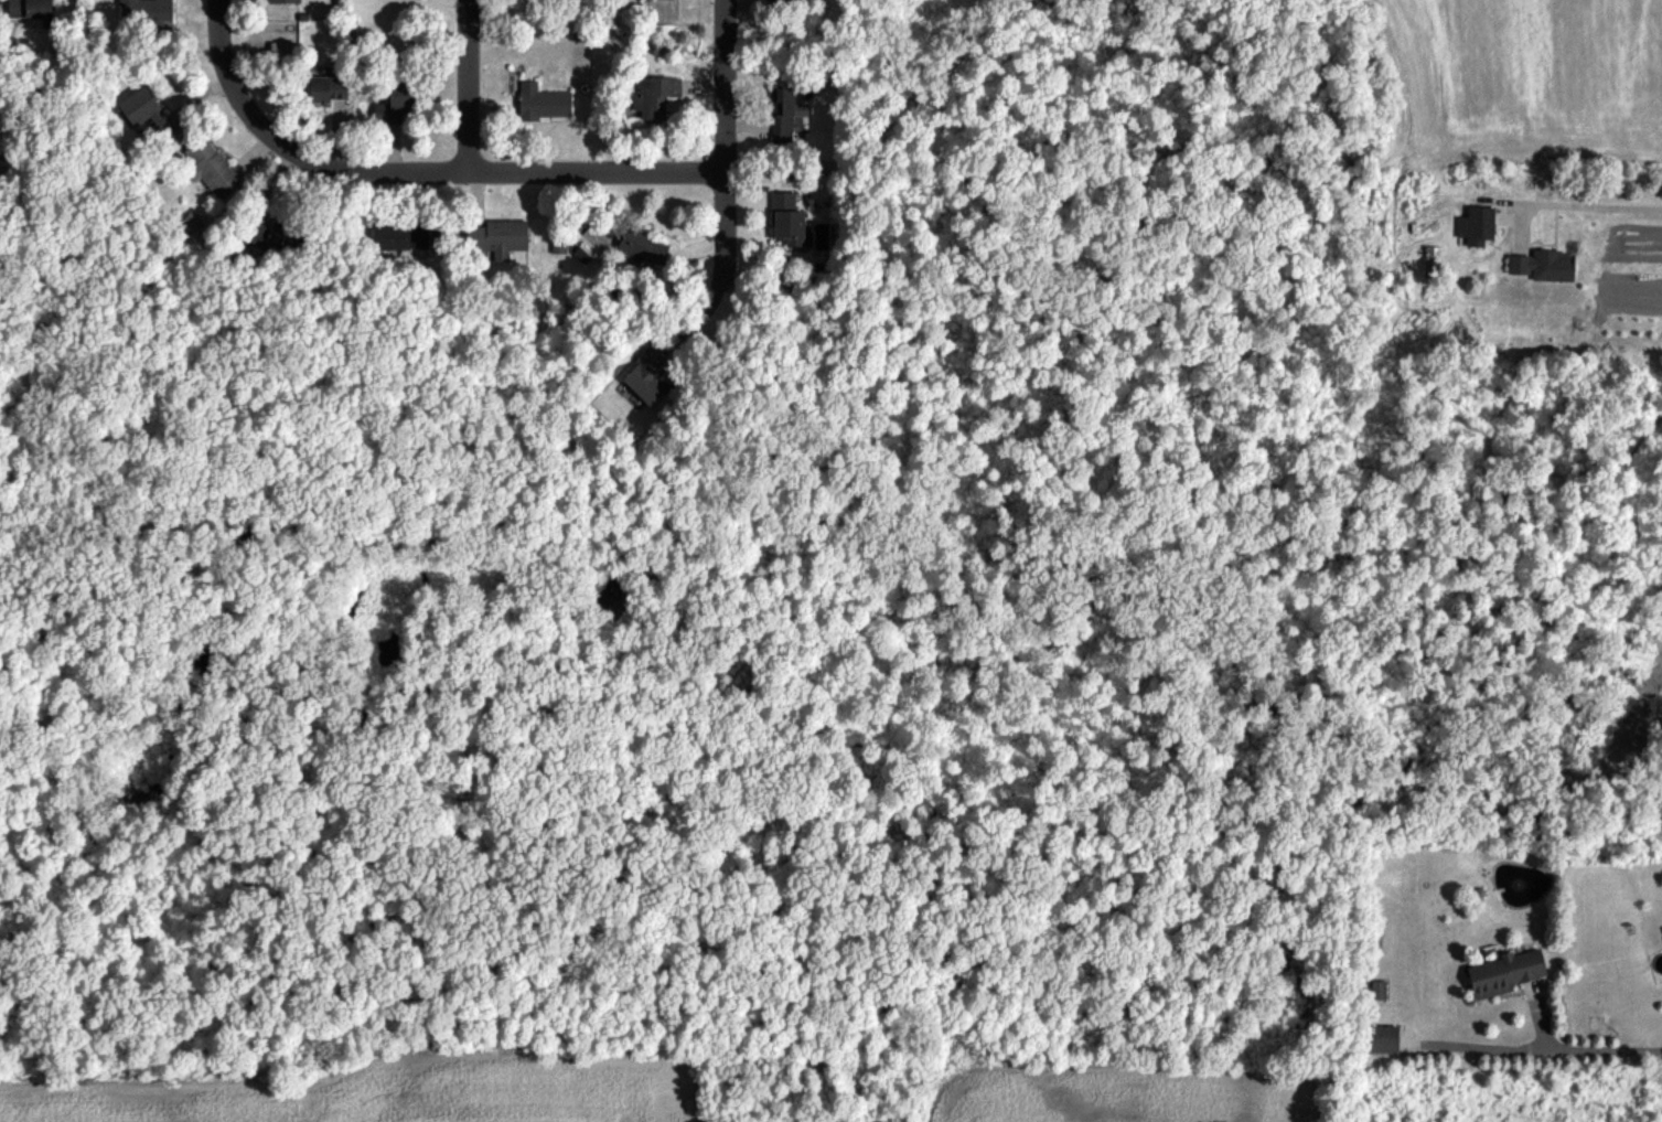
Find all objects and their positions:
building: (283, 1)
building: (781, 1)
building: (30, 8)
building: (146, 11)
road: (218, 46)
road: (469, 87)
building: (328, 88)
building: (655, 95)
building: (542, 101)
building: (396, 103)
building: (146, 109)
building: (784, 113)
road: (721, 143)
building: (211, 165)
road: (460, 174)
road: (1595, 203)
building: (787, 218)
building: (1476, 225)
building: (398, 235)
building: (498, 236)
building: (272, 239)
building: (643, 247)
building: (1433, 259)
building: (1543, 265)
building: (645, 377)
building: (1504, 972)
building: (1377, 990)
building: (1381, 1038)
road: (1573, 1048)
crop: (399, 1092)
crop: (1112, 1094)

